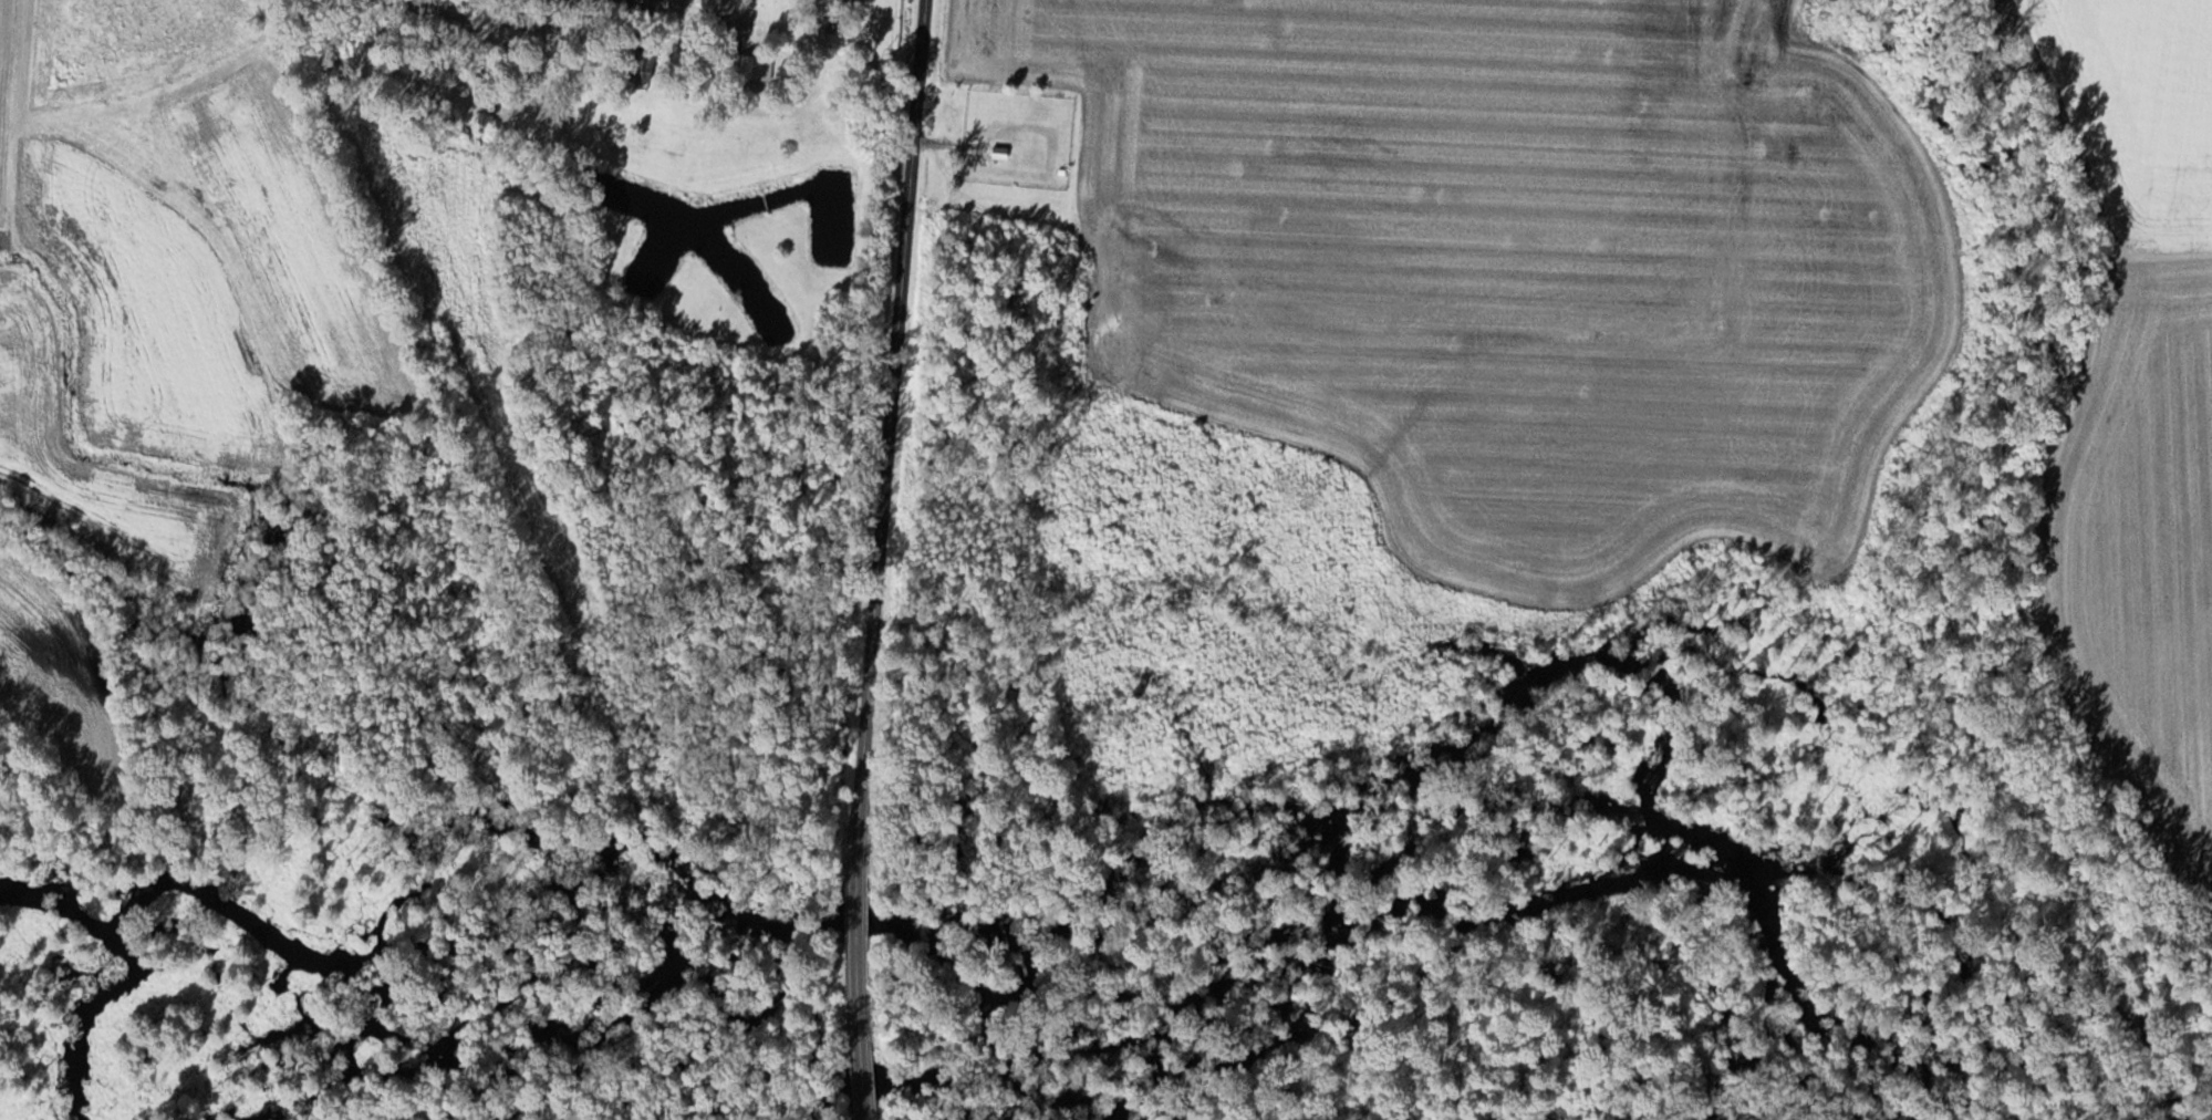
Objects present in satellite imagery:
building: (756, 68)
building: (1003, 153)
road: (891, 448)
road: (866, 1009)
building: (864, 1086)

